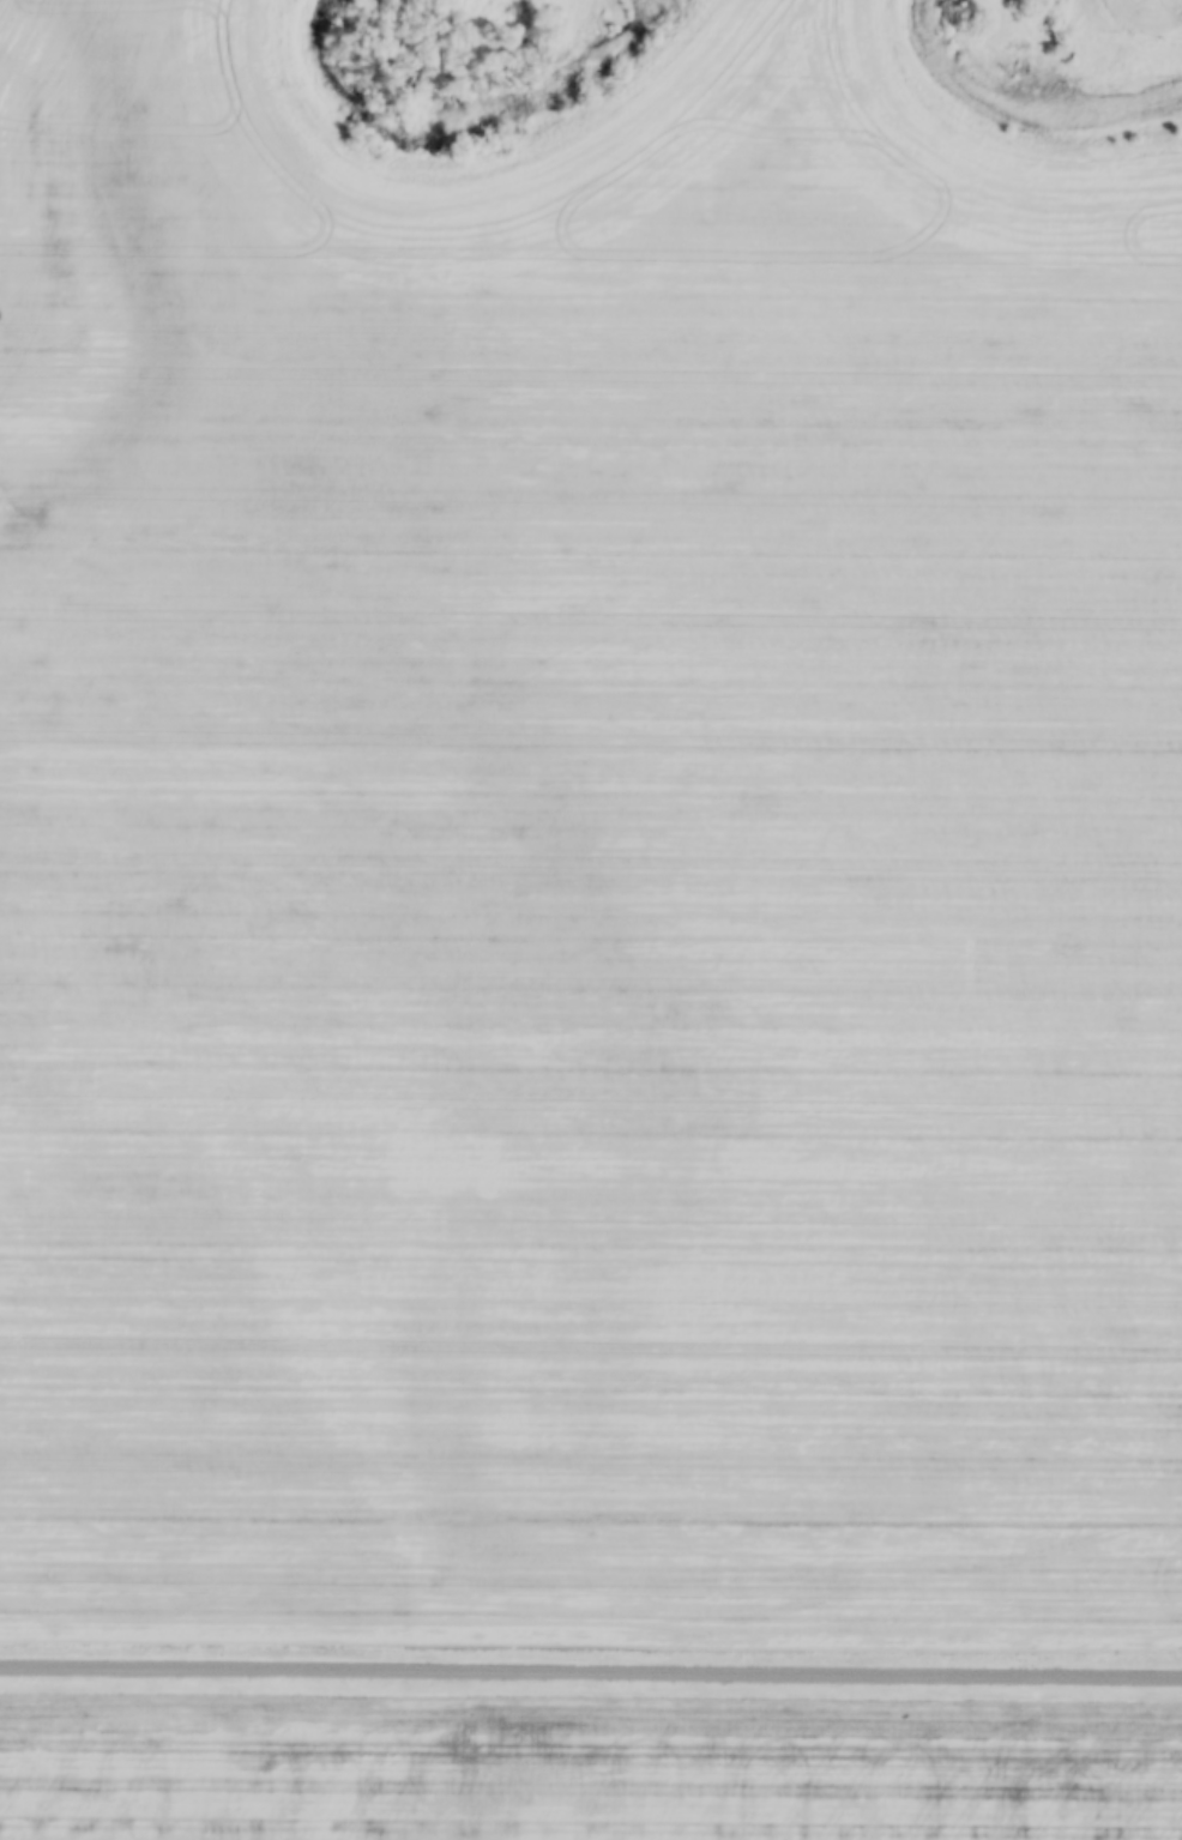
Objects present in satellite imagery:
road: (591, 1673)

